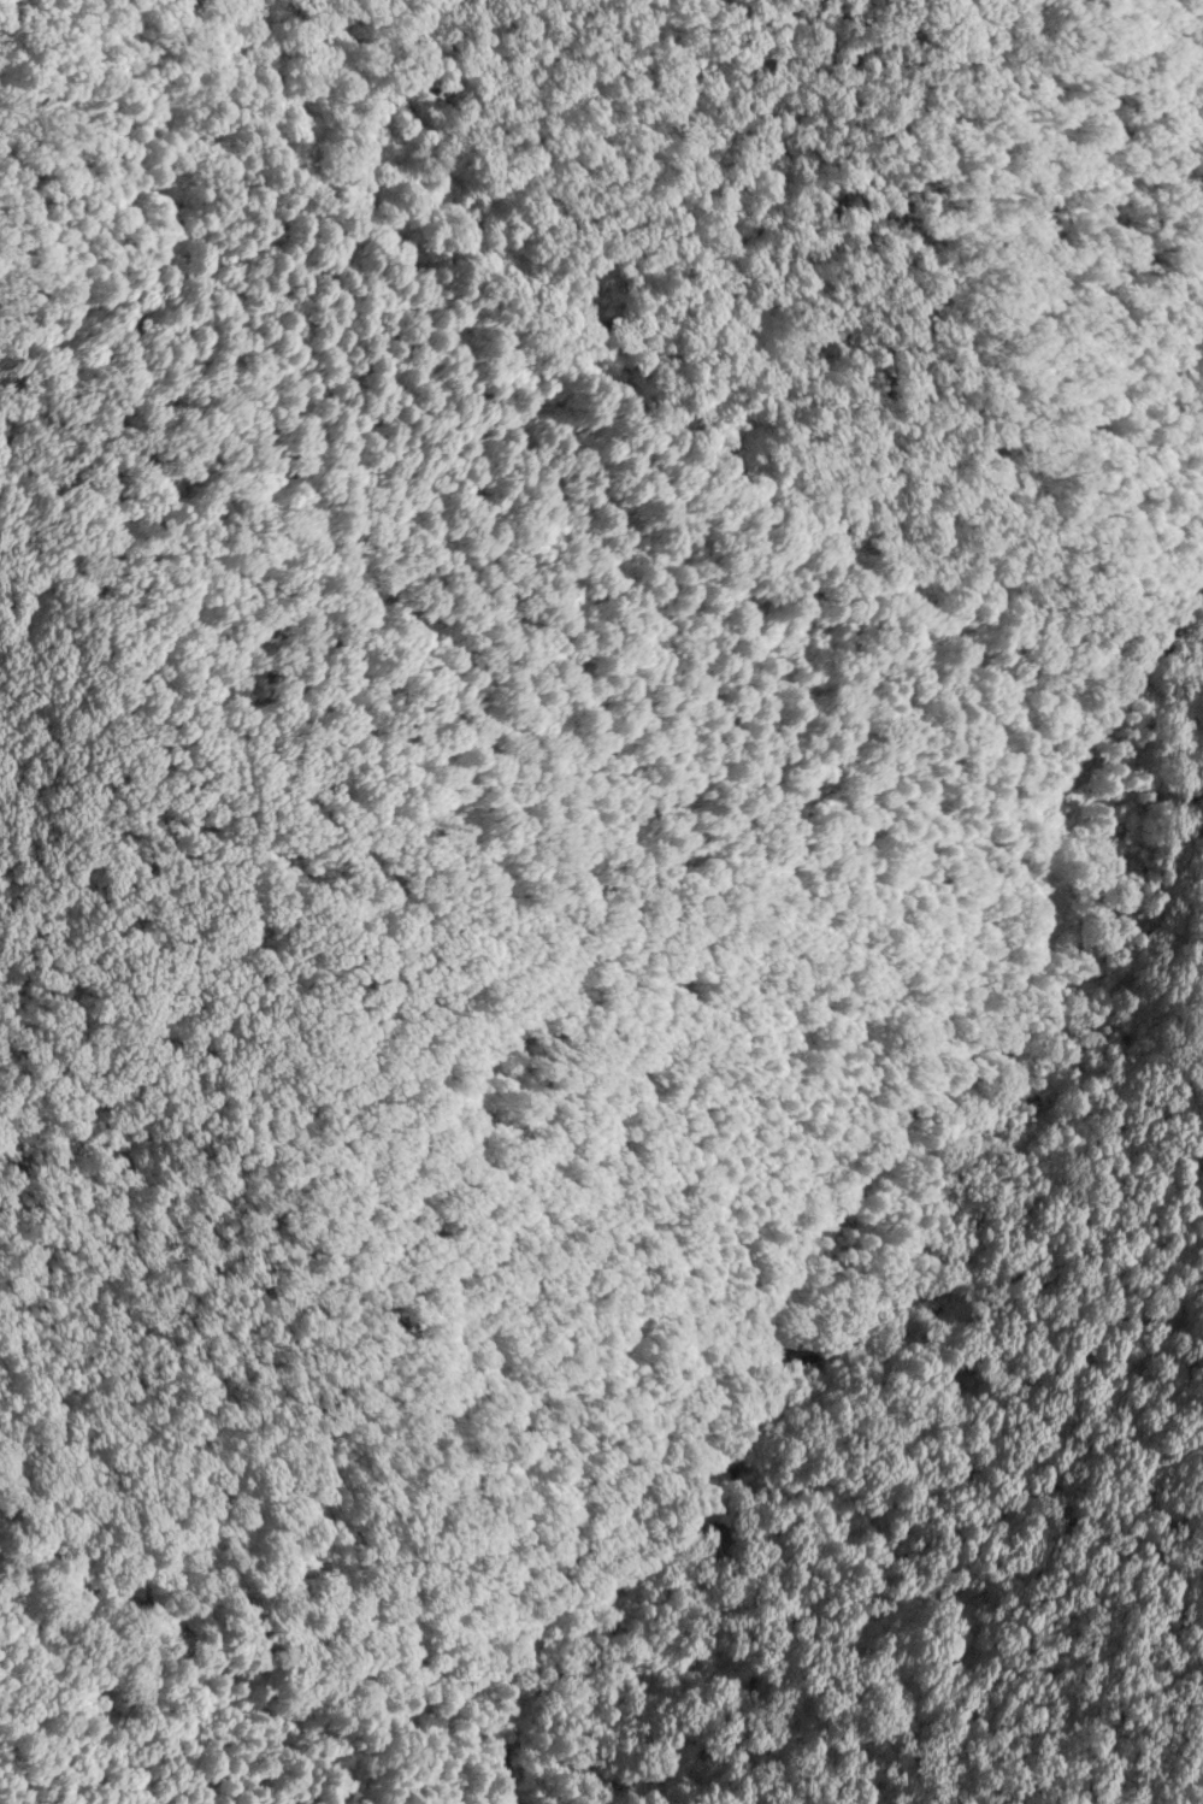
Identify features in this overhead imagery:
road: (832, 1148)
road: (152, 1723)

